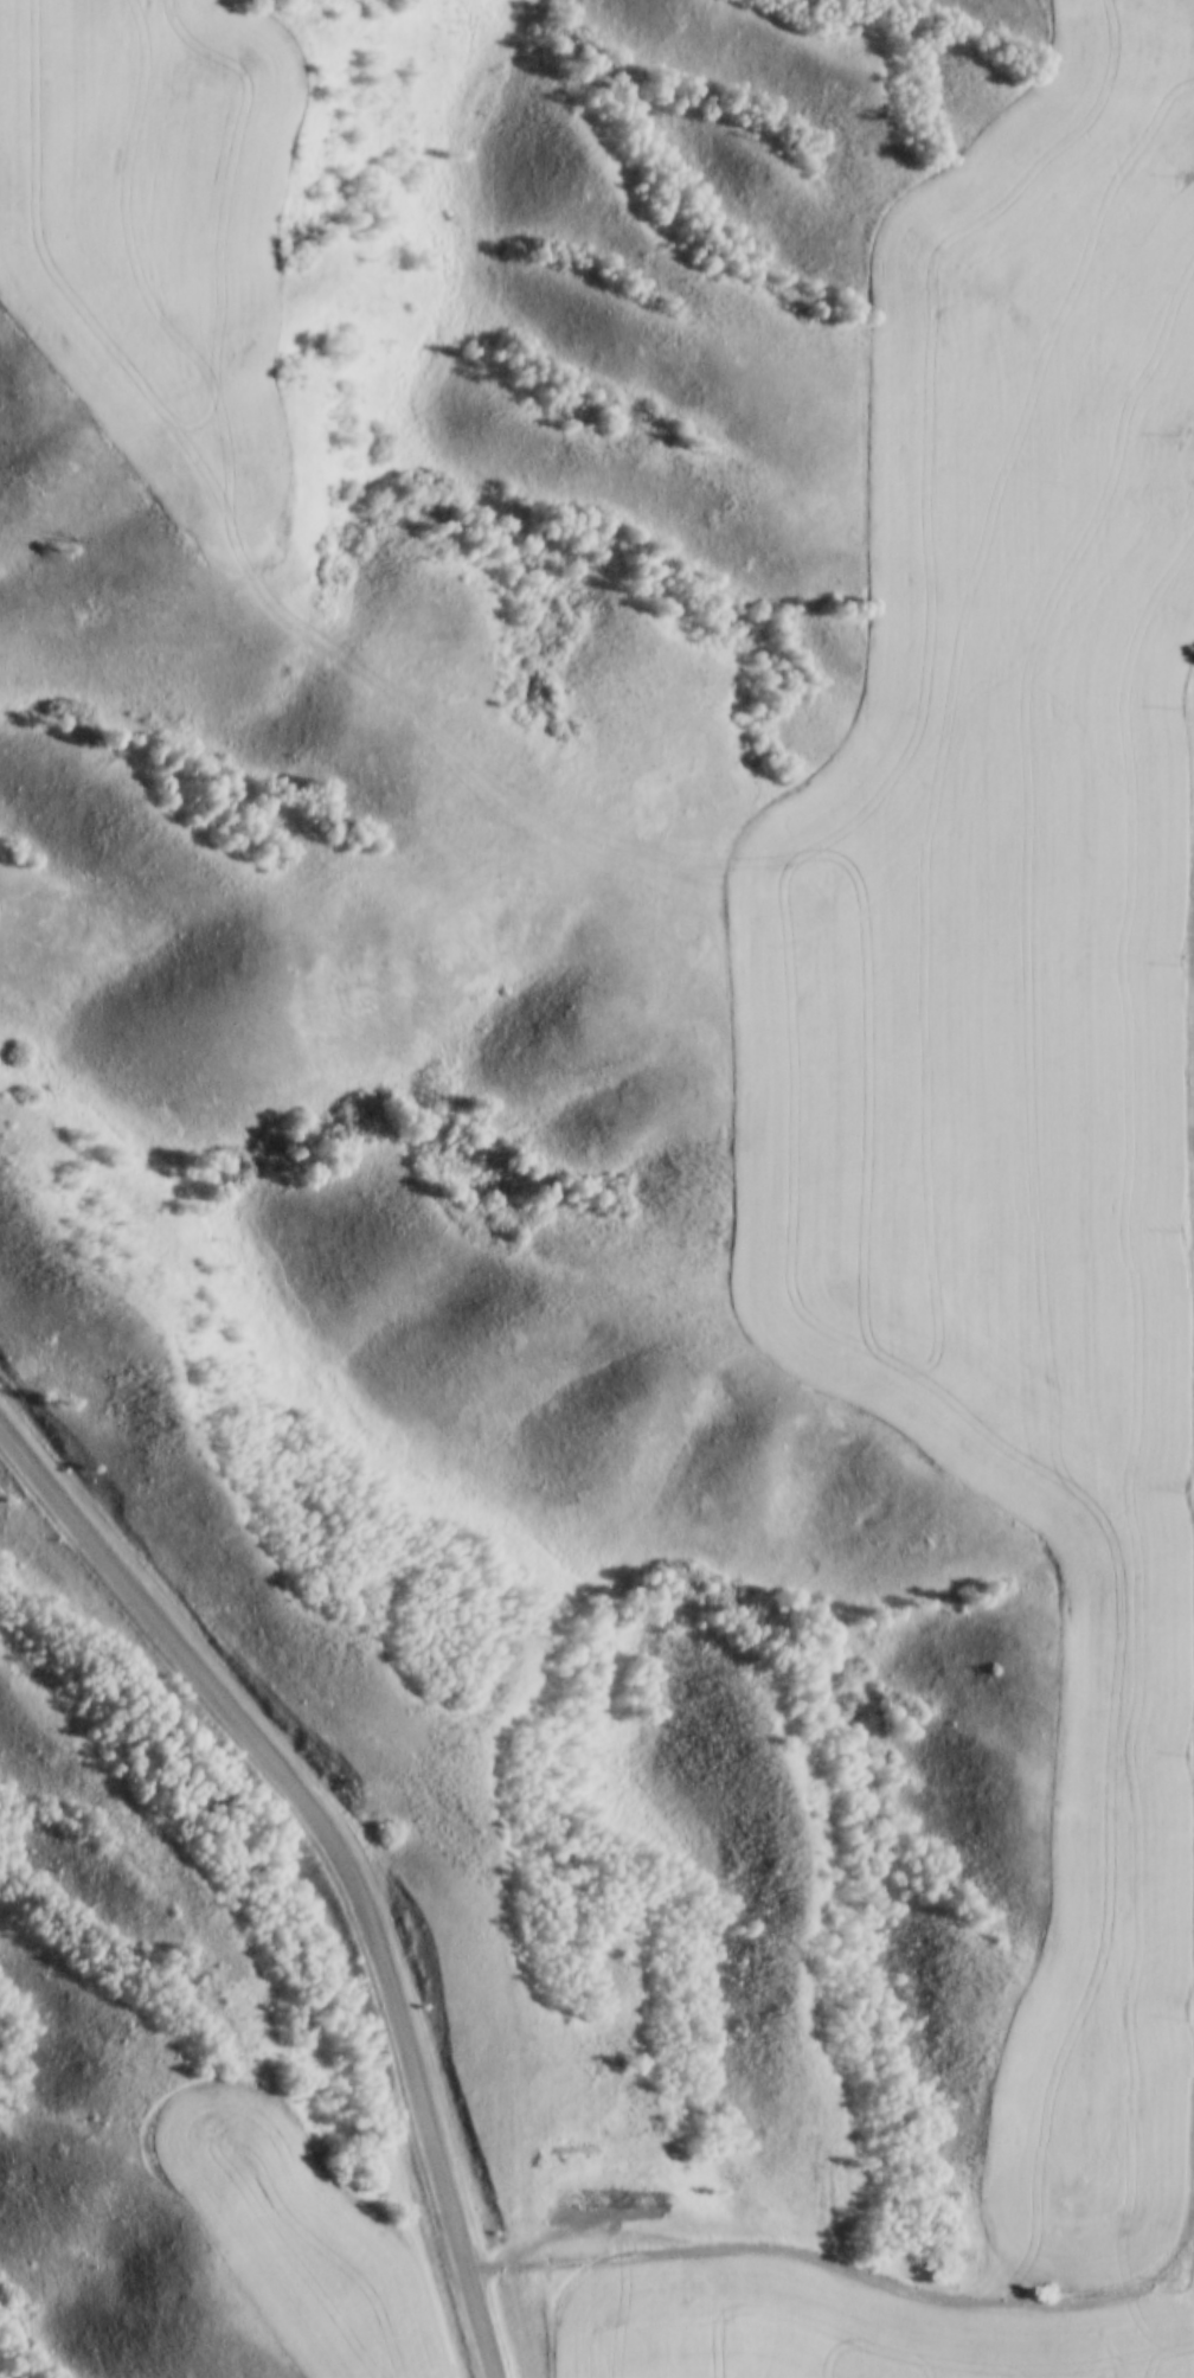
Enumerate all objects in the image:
road: (1192, 1267)
road: (341, 1855)
road: (849, 2267)

